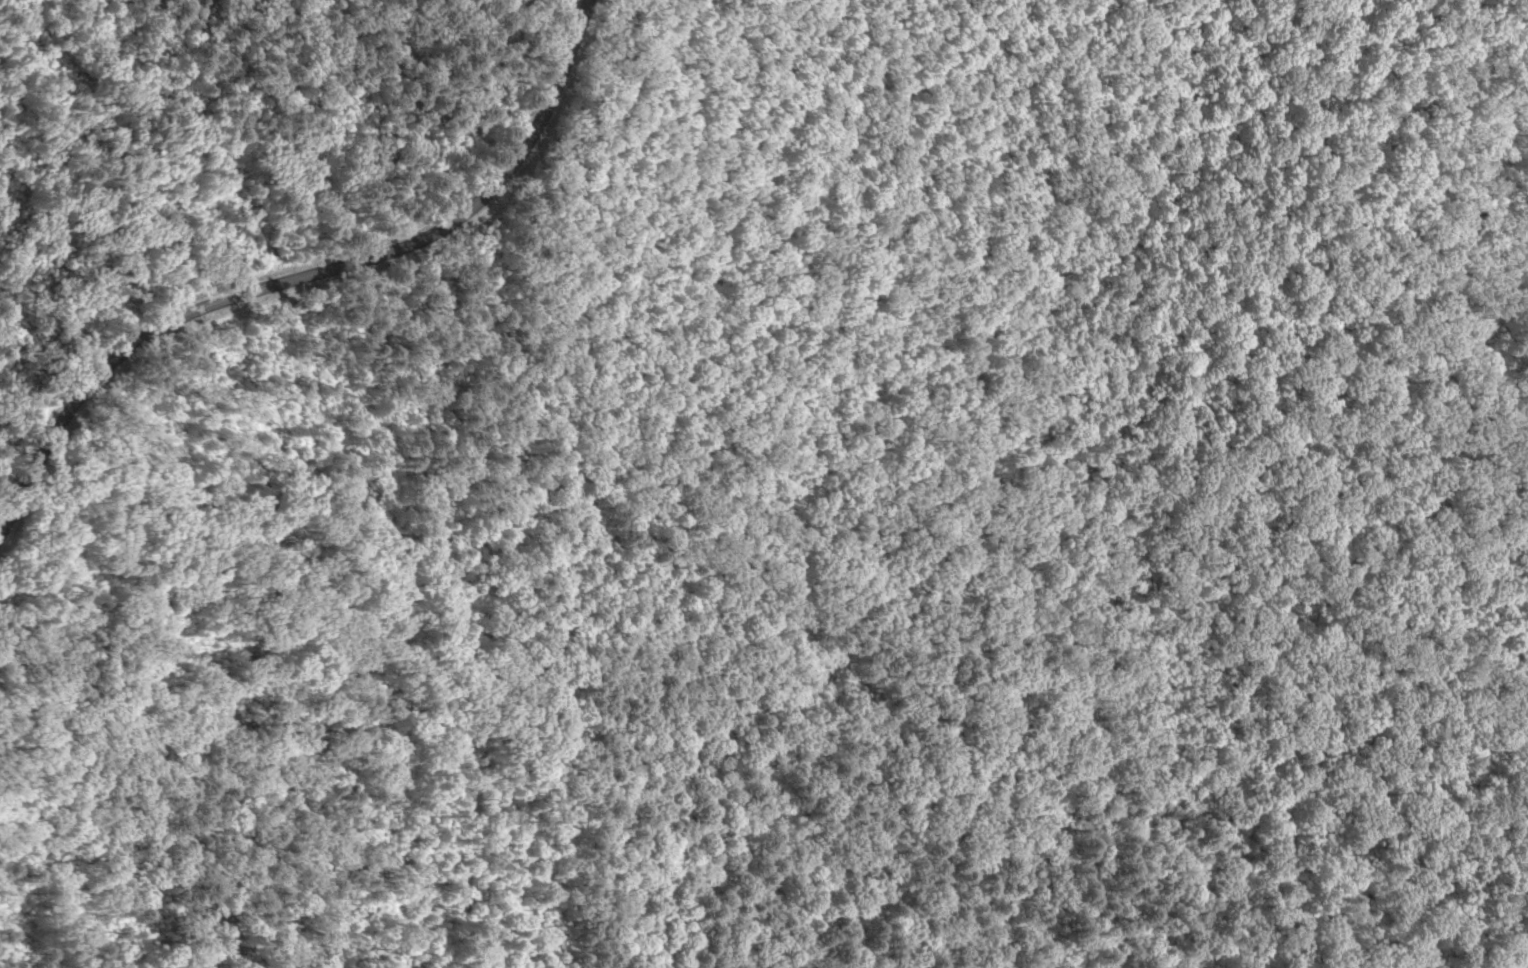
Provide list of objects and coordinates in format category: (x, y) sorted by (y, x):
road: (305, 272)
road: (1336, 835)

